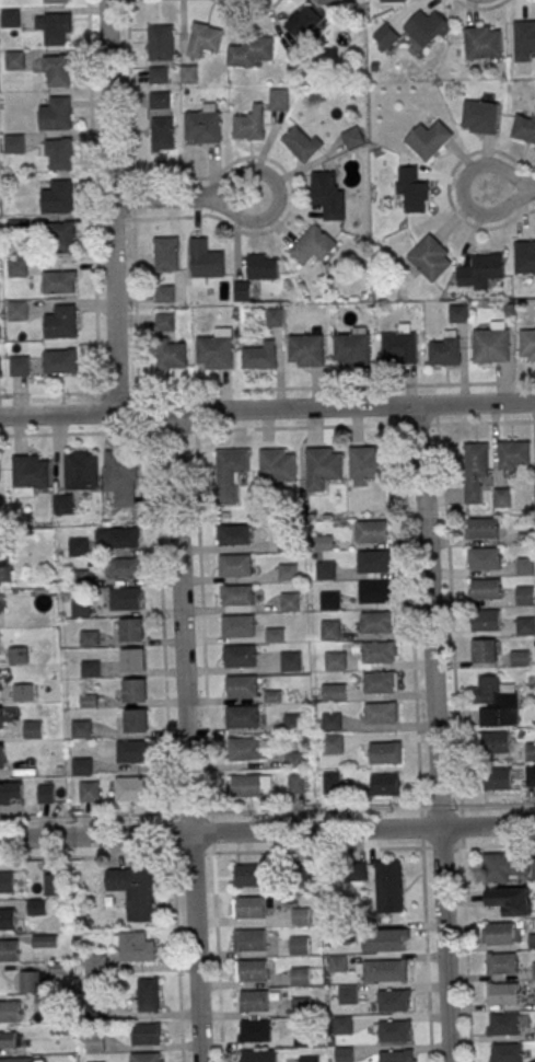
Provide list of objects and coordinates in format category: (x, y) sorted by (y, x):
building: (392, 0)
building: (53, 1)
building: (326, 2)
building: (10, 18)
building: (305, 23)
building: (54, 27)
building: (427, 28)
building: (385, 36)
building: (202, 39)
building: (524, 39)
building: (160, 42)
building: (482, 42)
building: (251, 51)
building: (13, 60)
building: (56, 70)
building: (158, 74)
building: (188, 74)
building: (278, 100)
building: (160, 101)
building: (56, 114)
building: (480, 116)
building: (248, 125)
building: (202, 126)
building: (524, 127)
building: (162, 135)
building: (351, 138)
building: (429, 139)
building: (13, 143)
building: (301, 143)
building: (57, 154)
road: (510, 186)
building: (411, 191)
building: (327, 195)
road: (93, 196)
road: (131, 196)
road: (186, 196)
building: (58, 197)
road: (113, 206)
building: (62, 235)
building: (313, 244)
building: (165, 254)
building: (524, 256)
building: (430, 258)
building: (205, 259)
building: (16, 267)
building: (261, 267)
building: (480, 270)
building: (59, 281)
building: (164, 290)
building: (241, 291)
building: (16, 310)
building: (457, 313)
building: (274, 318)
building: (60, 322)
building: (164, 322)
building: (527, 344)
building: (491, 345)
building: (399, 347)
building: (306, 349)
building: (353, 349)
building: (445, 349)
building: (214, 353)
building: (171, 356)
building: (260, 356)
building: (60, 361)
building: (19, 366)
road: (267, 388)
road: (267, 408)
road: (267, 428)
building: (513, 454)
building: (367, 463)
building: (277, 465)
building: (322, 467)
building: (80, 470)
building: (30, 471)
building: (229, 473)
building: (475, 473)
building: (120, 476)
building: (62, 504)
building: (479, 529)
building: (372, 532)
building: (233, 534)
building: (121, 536)
building: (287, 542)
building: (323, 542)
building: (79, 546)
building: (485, 559)
building: (374, 562)
building: (4, 565)
building: (235, 566)
building: (525, 566)
building: (120, 567)
building: (326, 570)
building: (288, 572)
building: (79, 578)
building: (486, 589)
building: (375, 592)
building: (236, 595)
building: (525, 596)
building: (125, 599)
building: (330, 600)
building: (290, 602)
building: (0, 604)
building: (81, 608)
building: (486, 620)
building: (377, 623)
building: (237, 626)
building: (526, 626)
building: (131, 630)
building: (330, 630)
building: (275, 635)
building: (90, 638)
building: (484, 650)
building: (379, 653)
building: (19, 656)
building: (239, 656)
building: (521, 658)
building: (132, 660)
building: (291, 661)
building: (336, 661)
building: (90, 669)
building: (380, 682)
building: (242, 686)
building: (133, 691)
building: (334, 692)
building: (23, 693)
building: (272, 696)
building: (88, 701)
building: (496, 702)
building: (381, 713)
building: (243, 717)
building: (1, 718)
building: (136, 722)
building: (332, 722)
building: (293, 723)
building: (33, 729)
building: (81, 729)
road: (437, 732)
road: (183, 736)
building: (496, 742)
building: (333, 743)
road: (208, 746)
road: (168, 747)
building: (244, 749)
building: (133, 751)
building: (530, 752)
building: (385, 753)
building: (1, 758)
building: (294, 760)
building: (82, 766)
building: (531, 775)
building: (498, 780)
building: (296, 783)
building: (332, 783)
building: (385, 785)
building: (244, 786)
building: (132, 788)
building: (89, 792)
building: (3, 794)
building: (46, 795)
road: (267, 810)
road: (267, 830)
road: (231, 851)
building: (498, 864)
building: (533, 869)
building: (249, 875)
building: (388, 879)
building: (10, 882)
building: (51, 885)
building: (133, 890)
building: (510, 901)
building: (36, 907)
building: (249, 907)
road: (465, 917)
building: (8, 919)
building: (501, 933)
building: (251, 939)
building: (44, 940)
building: (389, 940)
building: (531, 940)
building: (300, 945)
building: (135, 946)
building: (9, 950)
building: (339, 963)
building: (502, 963)
building: (96, 965)
building: (252, 970)
building: (384, 970)
building: (534, 970)
building: (301, 976)
building: (30, 982)
building: (349, 994)
building: (503, 994)
building: (148, 995)
building: (255, 1001)
building: (393, 1001)
building: (302, 1006)
building: (9, 1011)
building: (96, 1011)
building: (344, 1025)
building: (504, 1025)
building: (255, 1031)
building: (394, 1031)
building: (146, 1034)
building: (304, 1037)
building: (10, 1040)
building: (95, 1042)
building: (508, 1053)
building: (345, 1054)
building: (258, 1055)
building: (395, 1057)
building: (146, 1058)
building: (311, 1059)
building: (16, 1060)

